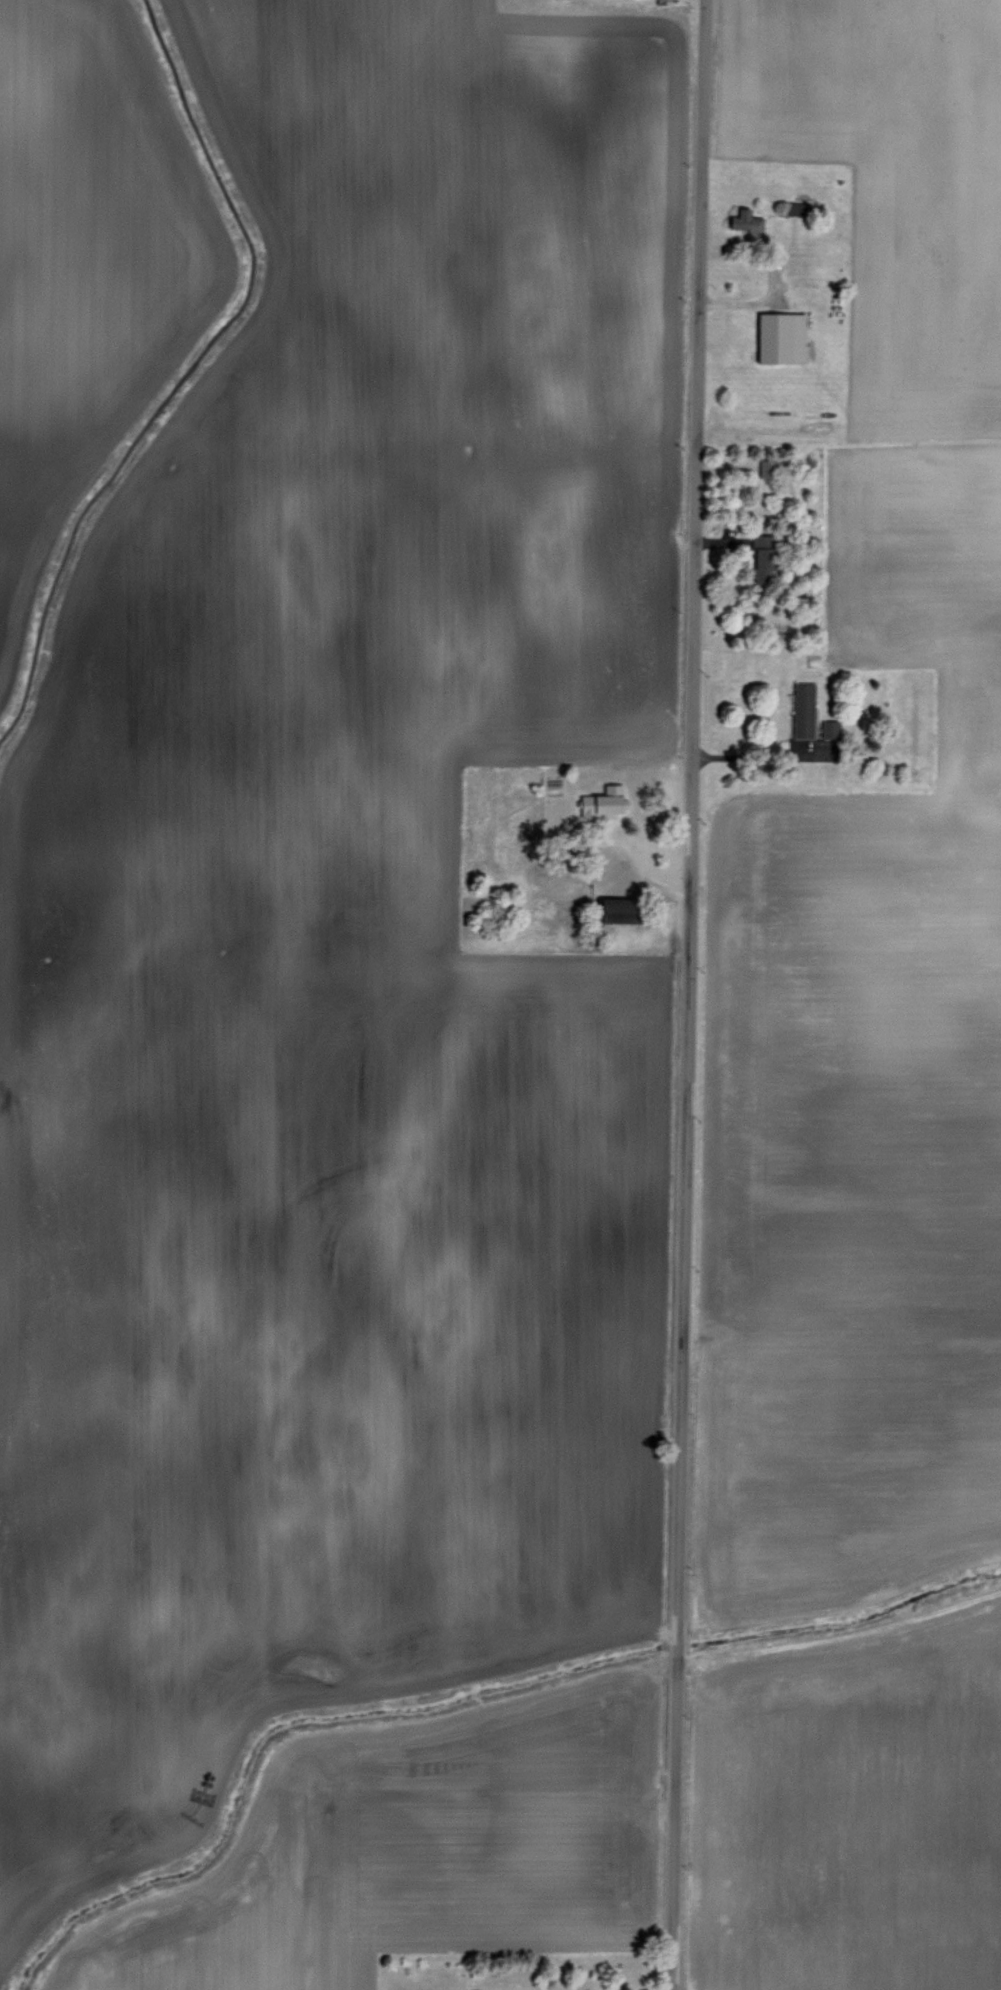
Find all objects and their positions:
building: (741, 212)
building: (778, 336)
building: (761, 563)
building: (801, 709)
building: (829, 728)
road: (762, 759)
building: (601, 800)
building: (617, 914)
road: (684, 994)

